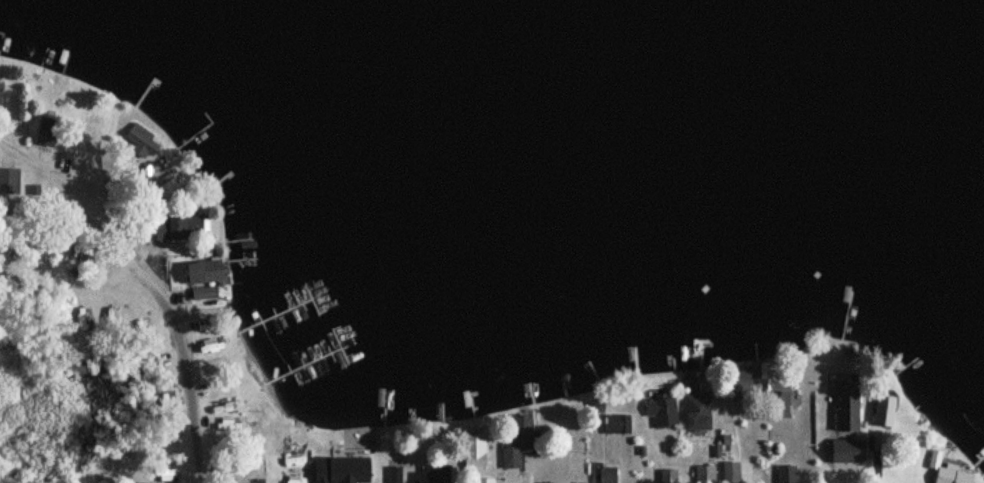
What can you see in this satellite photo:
building: (171, 184)
road: (140, 203)
building: (175, 228)
building: (197, 273)
road: (155, 280)
building: (776, 407)
building: (843, 409)
building: (696, 413)
building: (881, 413)
building: (662, 414)
building: (511, 451)
building: (843, 452)
building: (116, 467)
building: (430, 474)
building: (785, 474)
building: (378, 475)
building: (604, 475)
building: (704, 475)
building: (166, 477)
building: (484, 482)

